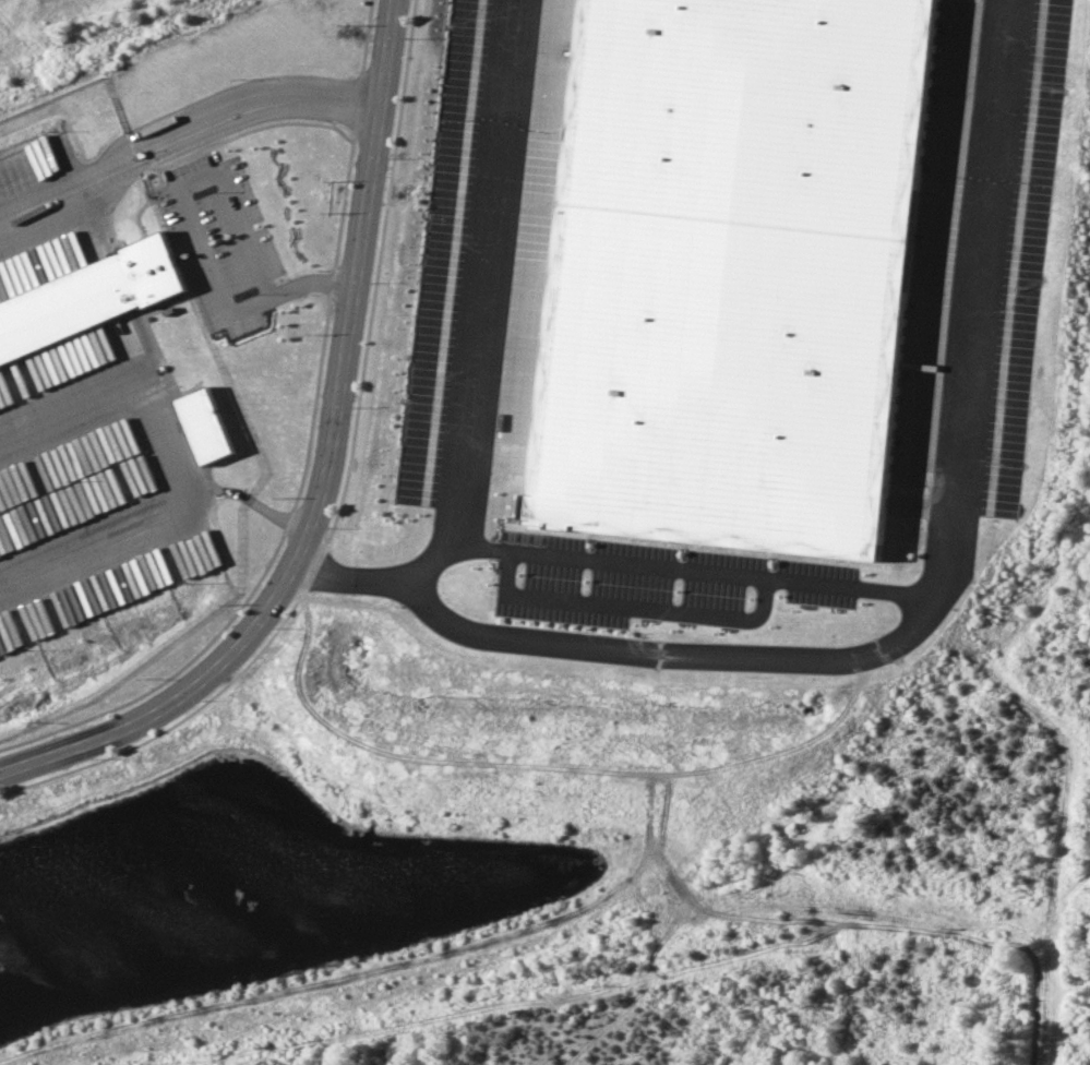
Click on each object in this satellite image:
road: (252, 107)
road: (65, 184)
road: (196, 229)
building: (731, 267)
building: (86, 298)
road: (484, 304)
building: (205, 426)
road: (333, 470)
road: (157, 517)
road: (691, 569)
parking lot: (652, 577)
road: (911, 629)

